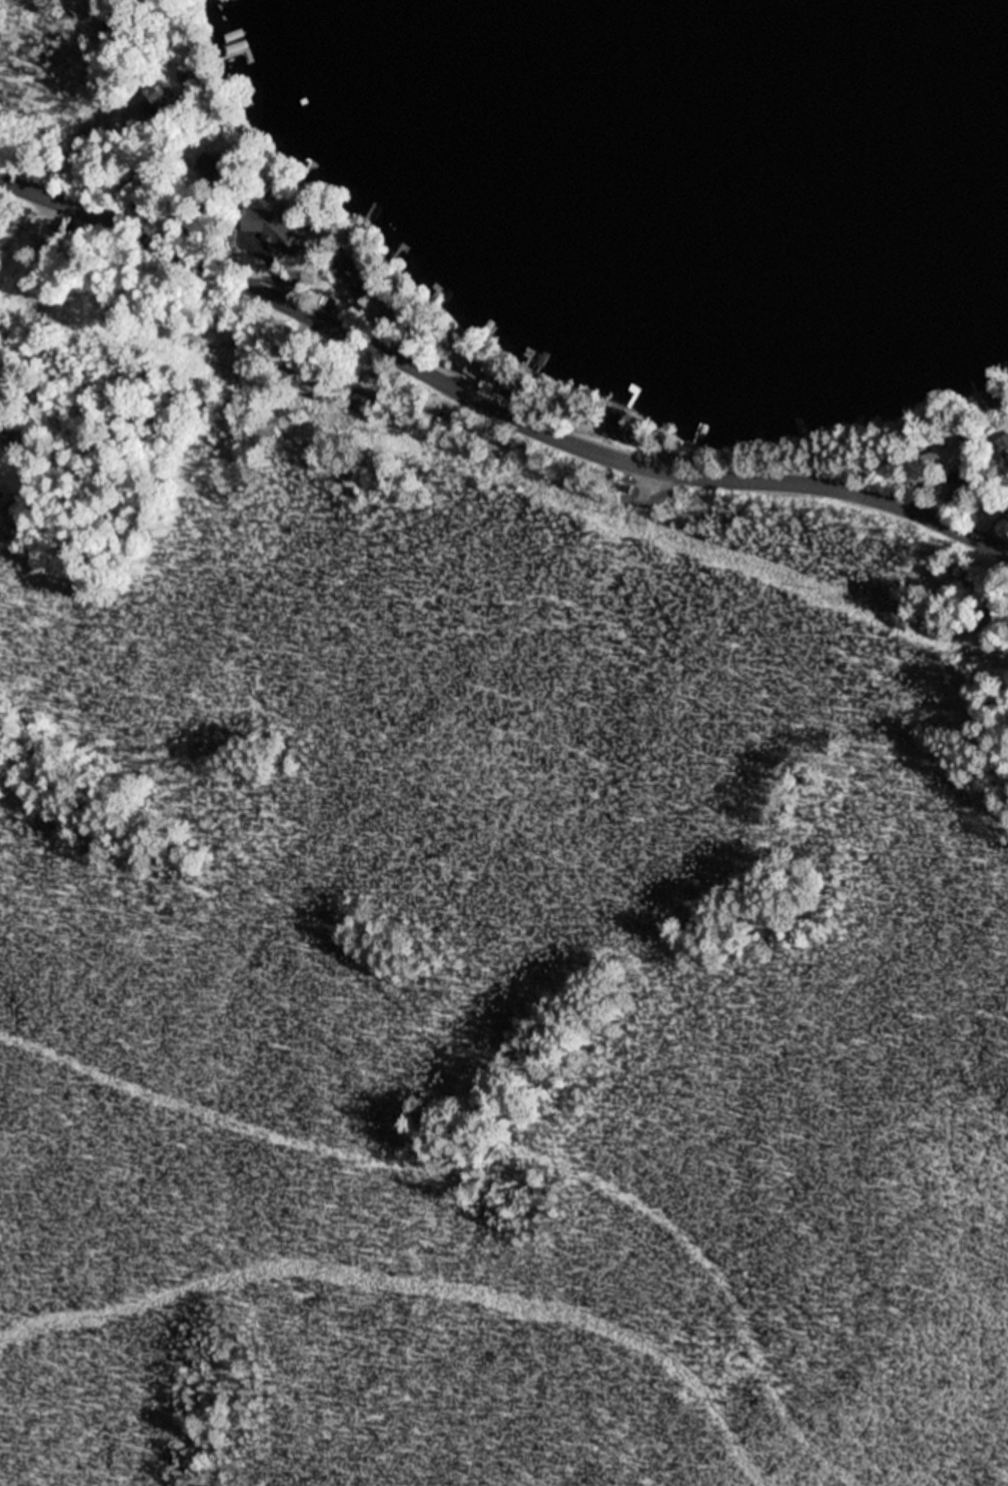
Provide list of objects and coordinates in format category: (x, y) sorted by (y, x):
building: (117, 21)
building: (161, 103)
building: (210, 166)
building: (281, 227)
building: (40, 232)
building: (361, 279)
building: (393, 308)
building: (403, 309)
building: (460, 343)
building: (476, 364)
building: (313, 382)
building: (518, 386)
road: (492, 401)
building: (366, 403)
building: (626, 427)
building: (467, 438)
building: (999, 449)
building: (952, 455)
building: (628, 488)
building: (959, 493)

